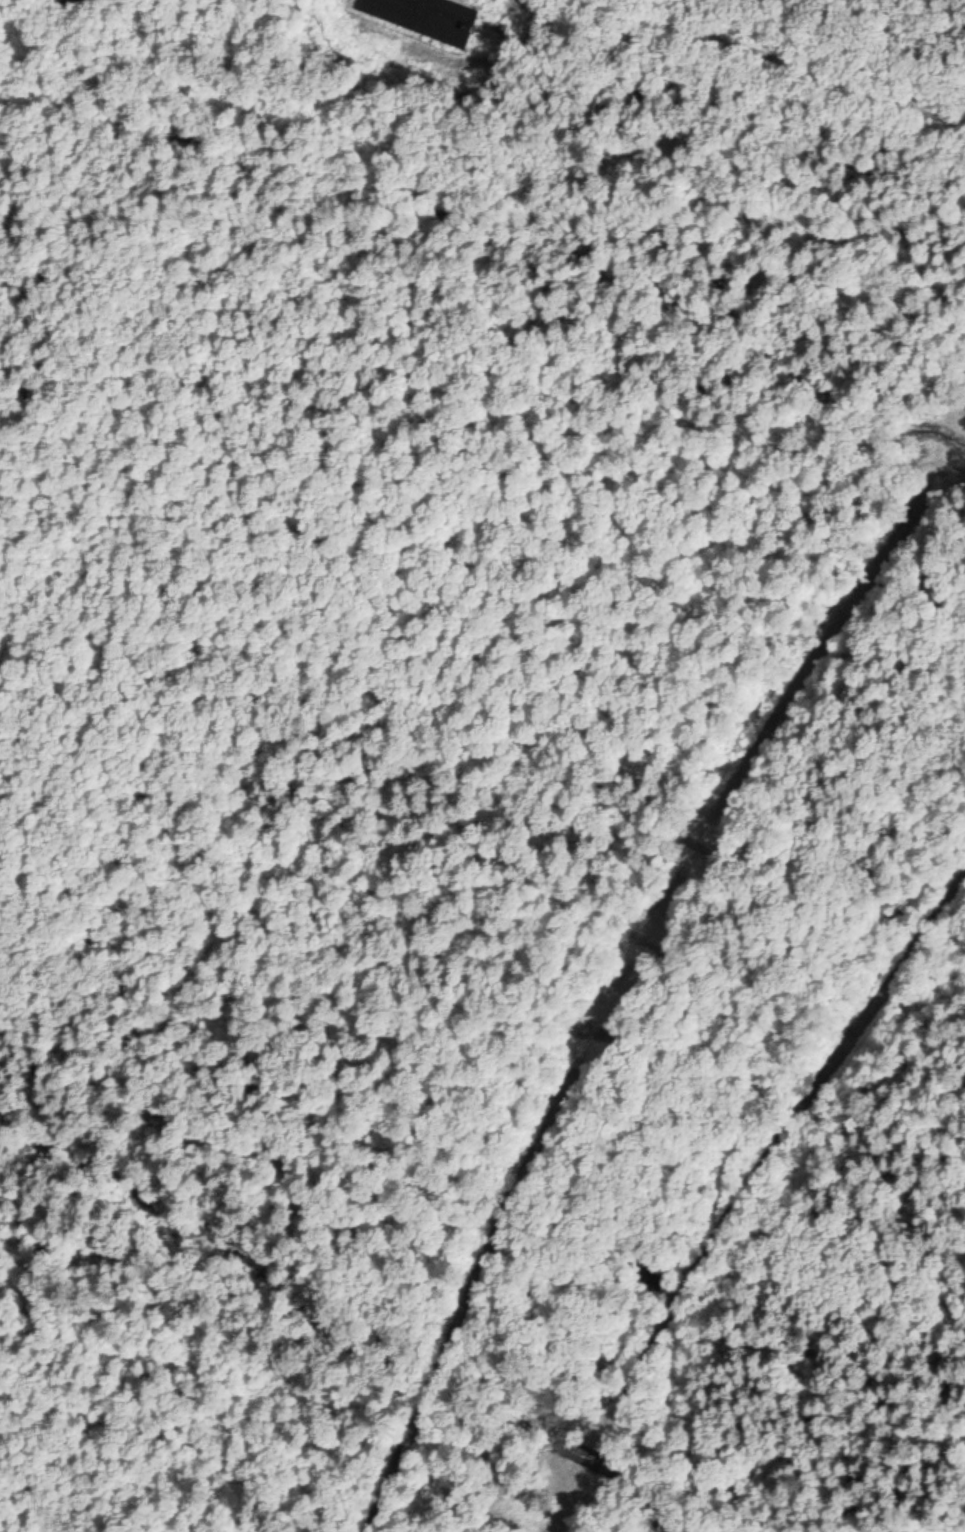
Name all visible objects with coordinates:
building: (436, 18)
road: (790, 58)
road: (747, 1191)

